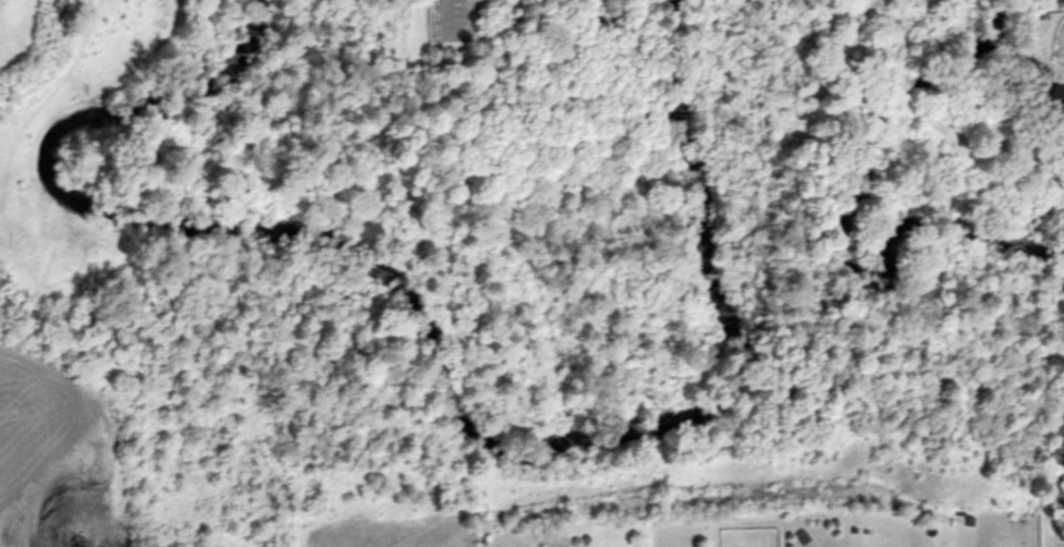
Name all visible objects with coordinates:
building: (1054, 104)
road: (5, 491)

